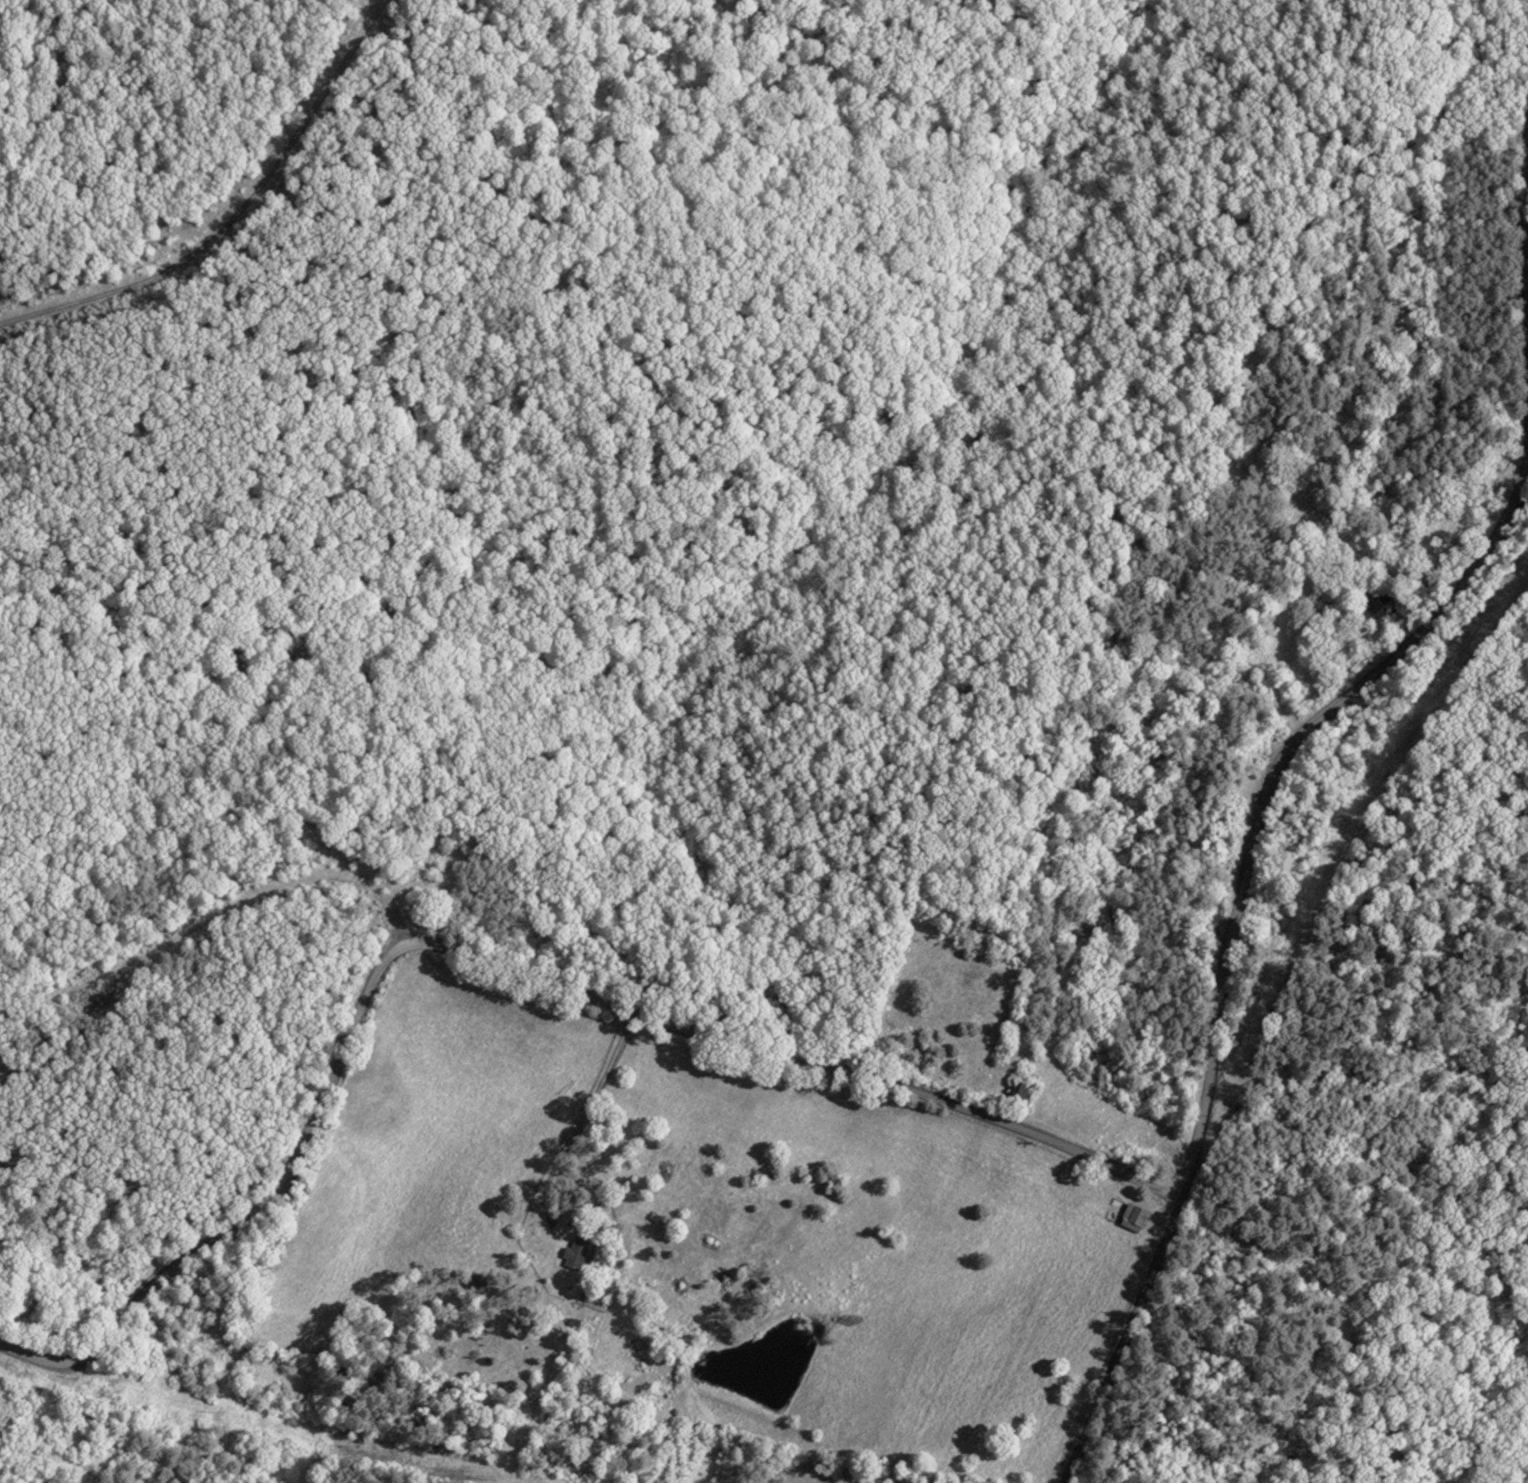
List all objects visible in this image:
road: (233, 213)
road: (1312, 776)
road: (504, 956)
building: (1016, 1093)
building: (1132, 1216)
building: (574, 1252)
road: (1126, 1339)

